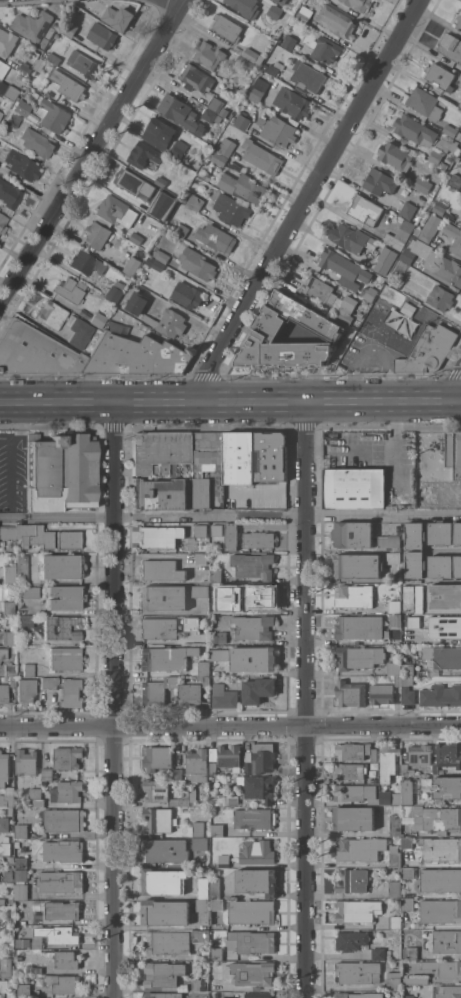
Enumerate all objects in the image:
road: (174, 1)
building: (280, 1)
building: (356, 4)
building: (245, 7)
building: (305, 10)
building: (275, 11)
building: (118, 17)
building: (336, 21)
building: (459, 21)
building: (33, 25)
building: (227, 27)
building: (70, 28)
building: (103, 36)
building: (7, 41)
building: (44, 42)
building: (289, 42)
building: (450, 46)
building: (325, 49)
building: (35, 53)
building: (250, 53)
building: (208, 54)
building: (54, 58)
building: (246, 63)
building: (84, 64)
building: (25, 68)
building: (273, 68)
building: (2, 69)
building: (308, 76)
building: (440, 76)
building: (21, 78)
building: (196, 78)
building: (1, 85)
building: (68, 85)
building: (231, 89)
building: (257, 91)
building: (9, 93)
building: (293, 103)
building: (425, 103)
building: (460, 104)
building: (220, 106)
building: (21, 108)
building: (179, 111)
building: (211, 115)
building: (52, 116)
building: (11, 119)
building: (240, 121)
building: (261, 121)
building: (415, 130)
building: (450, 130)
building: (279, 131)
building: (159, 133)
building: (459, 136)
building: (36, 144)
building: (446, 144)
building: (227, 146)
building: (178, 149)
road: (91, 151)
building: (144, 154)
building: (395, 155)
building: (261, 157)
building: (219, 158)
building: (438, 158)
building: (21, 165)
building: (204, 174)
building: (455, 180)
building: (130, 181)
building: (161, 181)
building: (379, 182)
building: (422, 184)
building: (242, 187)
building: (9, 196)
road: (305, 201)
building: (460, 204)
building: (200, 205)
building: (439, 206)
building: (231, 209)
building: (364, 209)
building: (407, 210)
building: (116, 211)
building: (155, 215)
building: (460, 220)
building: (2, 224)
building: (428, 228)
building: (406, 230)
building: (181, 231)
building: (96, 235)
building: (215, 237)
building: (136, 238)
building: (352, 238)
building: (412, 239)
building: (394, 241)
building: (457, 241)
building: (380, 245)
building: (408, 255)
building: (166, 258)
building: (86, 262)
building: (196, 262)
building: (155, 263)
building: (383, 264)
building: (132, 266)
building: (343, 266)
building: (444, 267)
building: (318, 288)
building: (69, 290)
building: (116, 291)
building: (368, 292)
building: (187, 294)
building: (441, 297)
building: (138, 299)
building: (346, 307)
building: (362, 308)
building: (408, 309)
building: (51, 315)
building: (97, 320)
building: (168, 322)
building: (325, 327)
building: (77, 332)
building: (428, 350)
building: (35, 351)
building: (135, 356)
road: (453, 386)
road: (230, 402)
building: (208, 447)
building: (238, 450)
building: (161, 451)
building: (454, 452)
building: (271, 456)
road: (306, 459)
road: (114, 460)
building: (59, 473)
building: (418, 475)
building: (373, 484)
building: (160, 494)
building: (250, 495)
building: (270, 497)
road: (383, 516)
road: (210, 517)
road: (57, 518)
building: (216, 529)
building: (198, 530)
building: (7, 532)
building: (441, 533)
building: (458, 533)
building: (353, 534)
building: (415, 534)
building: (33, 536)
building: (159, 536)
building: (231, 536)
building: (67, 539)
building: (258, 539)
building: (389, 541)
building: (187, 545)
building: (201, 558)
building: (394, 558)
building: (415, 564)
building: (358, 565)
building: (60, 566)
building: (253, 566)
building: (442, 566)
building: (457, 566)
building: (21, 569)
building: (162, 570)
building: (9, 574)
building: (216, 575)
building: (413, 580)
building: (199, 591)
building: (27, 593)
building: (253, 596)
building: (354, 596)
building: (446, 596)
building: (63, 597)
building: (164, 597)
building: (408, 598)
building: (395, 606)
building: (7, 608)
building: (395, 620)
building: (24, 621)
building: (414, 622)
building: (159, 627)
building: (253, 627)
building: (360, 627)
building: (445, 627)
building: (61, 628)
building: (191, 630)
building: (215, 633)
building: (8, 639)
building: (2, 654)
building: (219, 654)
building: (359, 656)
building: (443, 656)
building: (167, 658)
building: (65, 659)
building: (254, 659)
building: (204, 668)
building: (394, 668)
building: (408, 669)
building: (28, 670)
building: (9, 671)
building: (173, 679)
building: (398, 680)
building: (206, 681)
building: (11, 682)
building: (49, 683)
building: (258, 689)
building: (408, 690)
building: (25, 692)
building: (72, 692)
building: (155, 693)
building: (350, 693)
building: (3, 694)
building: (190, 694)
building: (382, 694)
building: (441, 695)
building: (224, 696)
road: (230, 724)
building: (355, 751)
building: (228, 756)
building: (448, 756)
building: (68, 757)
road: (118, 757)
building: (157, 757)
road: (306, 757)
building: (421, 757)
building: (260, 759)
building: (26, 761)
building: (388, 762)
building: (197, 765)
building: (4, 767)
building: (213, 768)
building: (407, 769)
building: (350, 771)
building: (178, 773)
building: (47, 774)
building: (260, 787)
building: (397, 788)
building: (448, 788)
building: (156, 790)
building: (69, 791)
building: (407, 792)
building: (36, 793)
building: (357, 793)
building: (8, 797)
building: (421, 797)
building: (396, 798)
building: (185, 799)
building: (220, 799)
building: (39, 803)
building: (434, 817)
building: (255, 818)
building: (353, 818)
building: (159, 819)
building: (62, 820)
building: (4, 824)
building: (396, 824)
building: (198, 829)
building: (217, 830)
building: (21, 831)
building: (407, 842)
building: (200, 843)
building: (5, 848)
building: (441, 848)
building: (361, 849)
building: (64, 850)
building: (165, 850)
building: (257, 852)
building: (395, 856)
building: (224, 861)
building: (21, 862)
building: (393, 871)
building: (408, 873)
building: (8, 875)
building: (22, 875)
building: (352, 880)
building: (440, 880)
building: (61, 881)
building: (257, 881)
building: (164, 882)
building: (215, 887)
building: (203, 888)
building: (395, 889)
building: (22, 891)
building: (2, 902)
building: (408, 904)
building: (203, 905)
building: (216, 905)
building: (62, 910)
building: (252, 911)
building: (357, 911)
building: (441, 911)
building: (165, 913)
building: (395, 920)
building: (59, 934)
building: (200, 935)
building: (352, 940)
building: (251, 941)
building: (447, 941)
building: (23, 942)
building: (168, 943)
building: (37, 945)
building: (411, 952)
building: (217, 953)
building: (378, 954)
building: (66, 959)
building: (6, 966)
building: (445, 968)
building: (34, 969)
building: (357, 972)
building: (253, 973)
building: (163, 974)
building: (416, 980)
building: (394, 981)
building: (63, 983)
building: (216, 984)
building: (6, 985)
building: (200, 985)
building: (24, 990)
building: (449, 992)
building: (163, 995)
building: (195, 995)
building: (215, 995)
building: (259, 995)
building: (359, 995)
building: (408, 996)
building: (228, 997)

